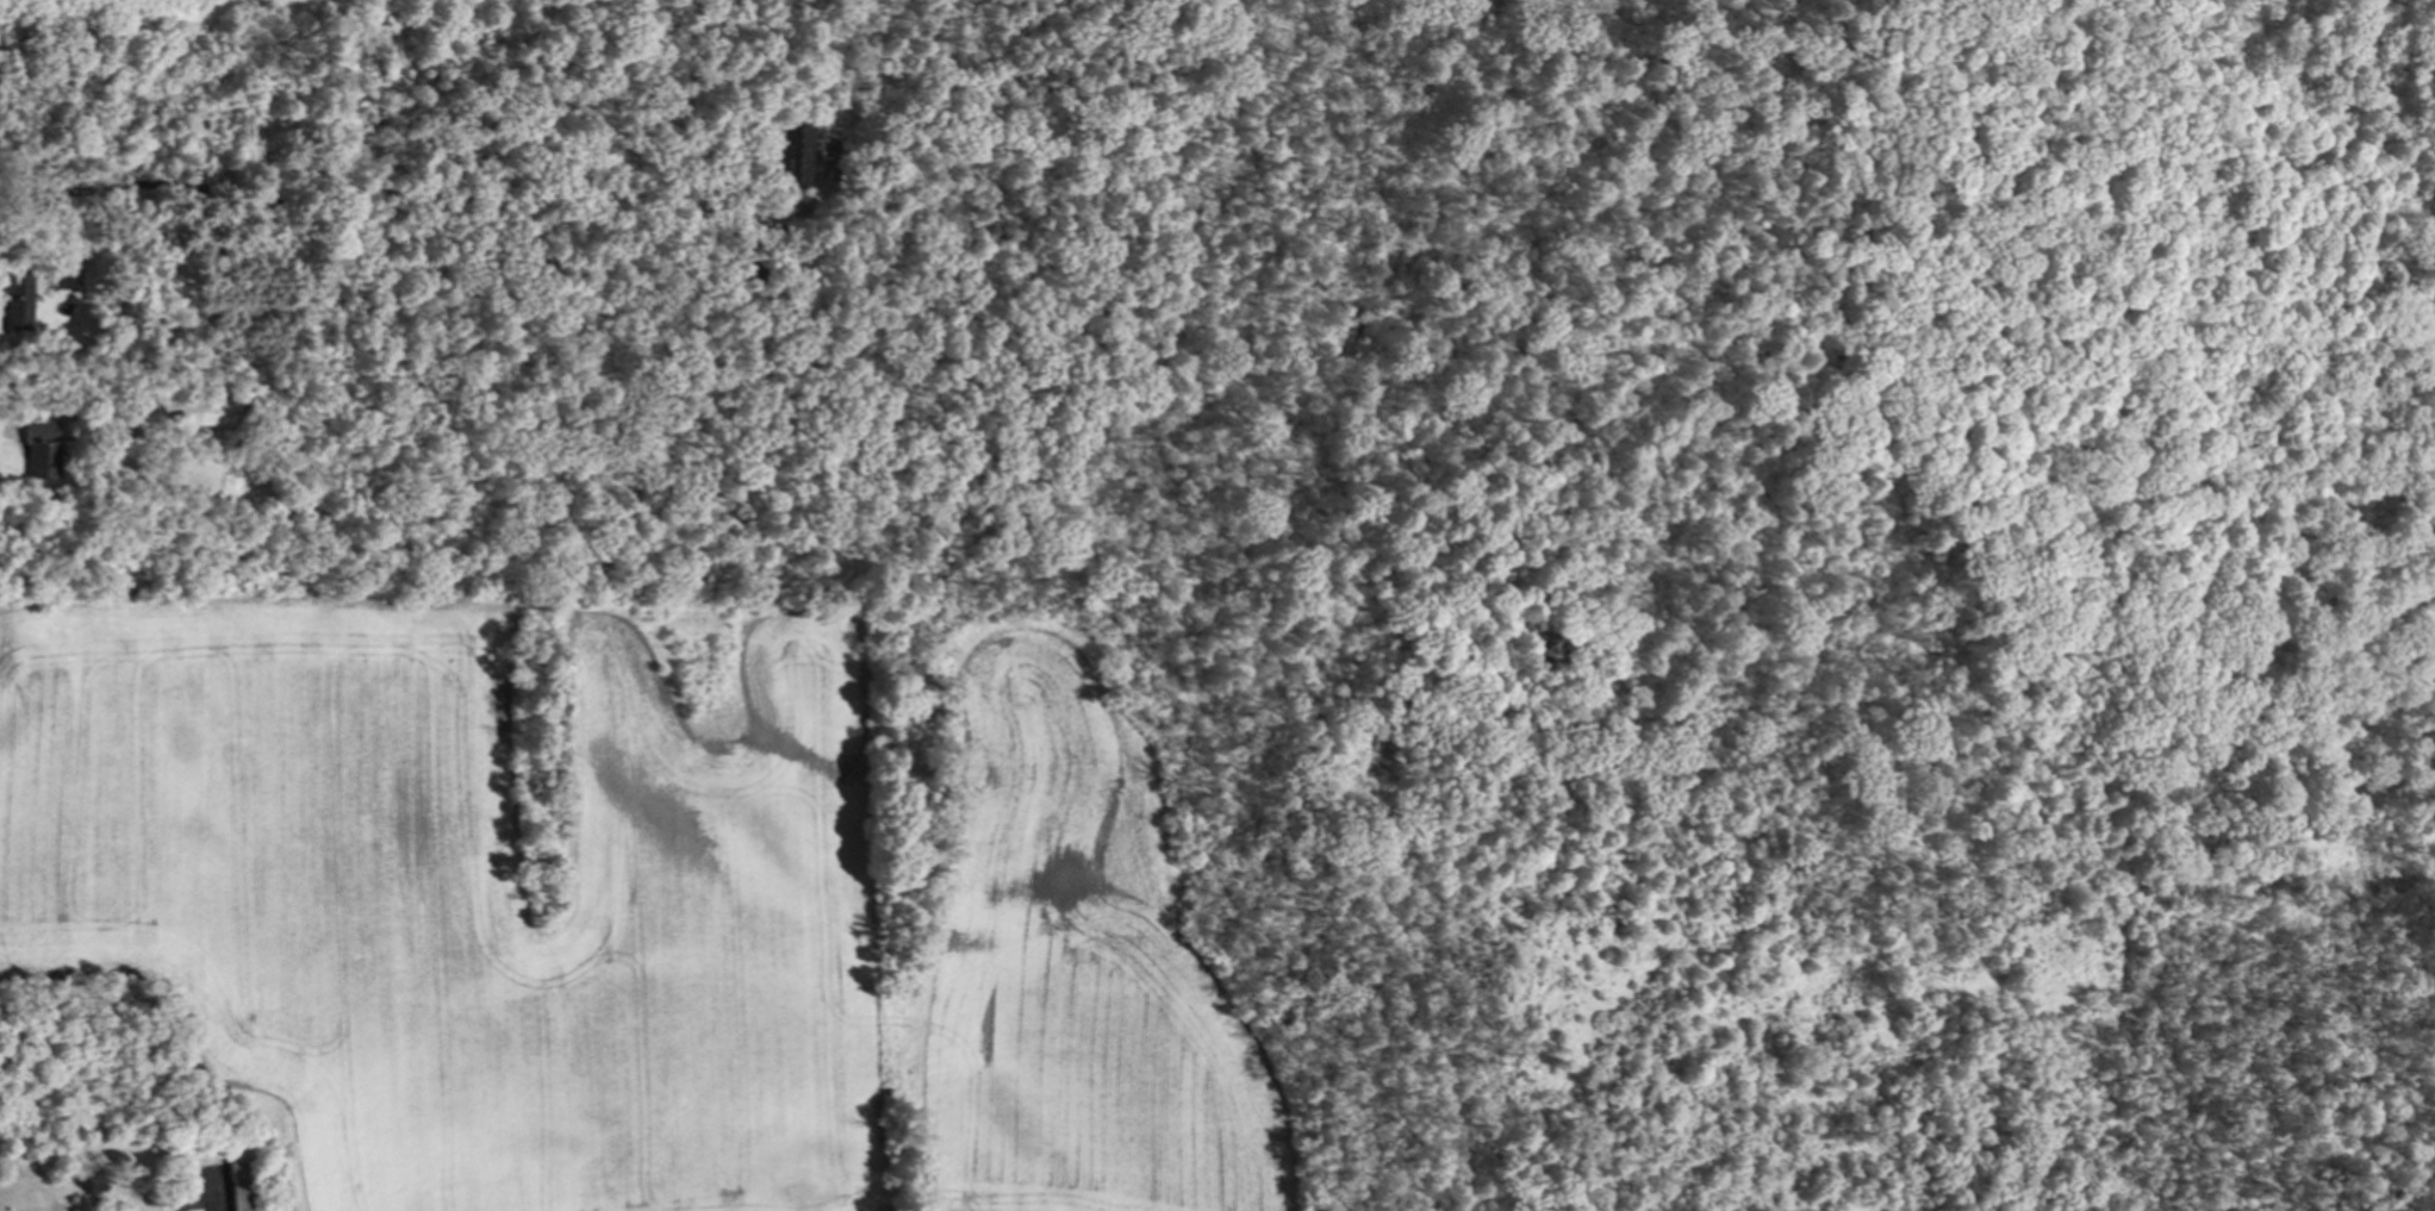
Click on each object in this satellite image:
quarry: (1899, 5)
building: (792, 156)
road: (385, 193)
building: (18, 300)
building: (198, 412)
road: (5, 426)
building: (41, 450)
crop: (628, 911)
building: (241, 1186)
road: (211, 1196)

